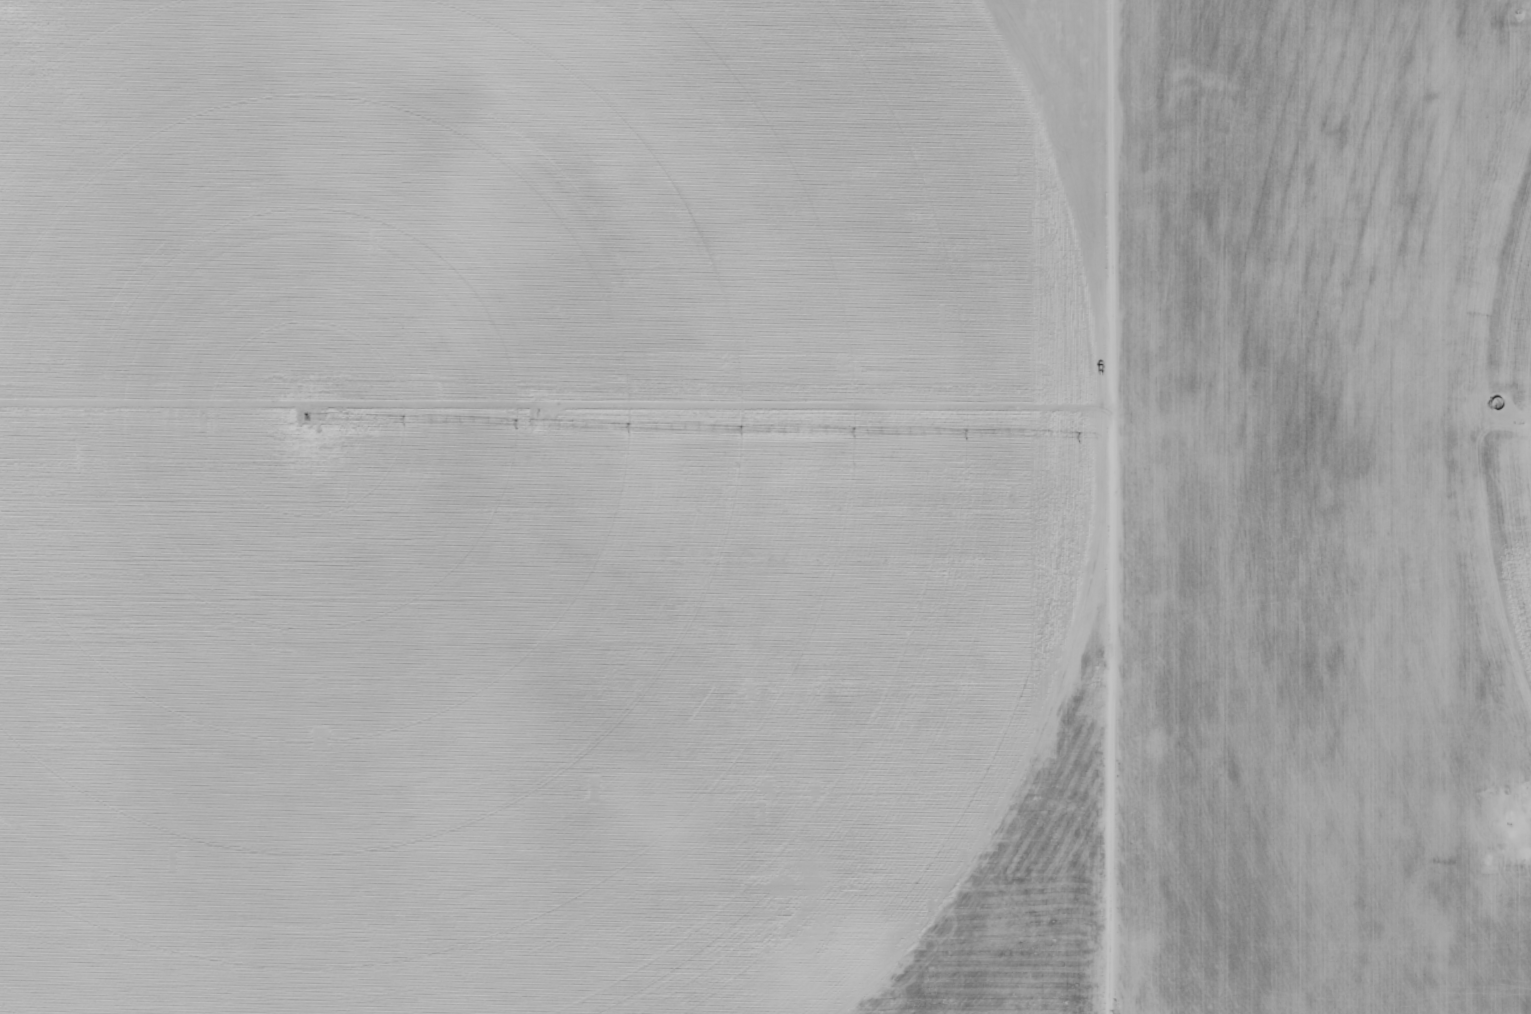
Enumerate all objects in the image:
road: (1121, 507)

